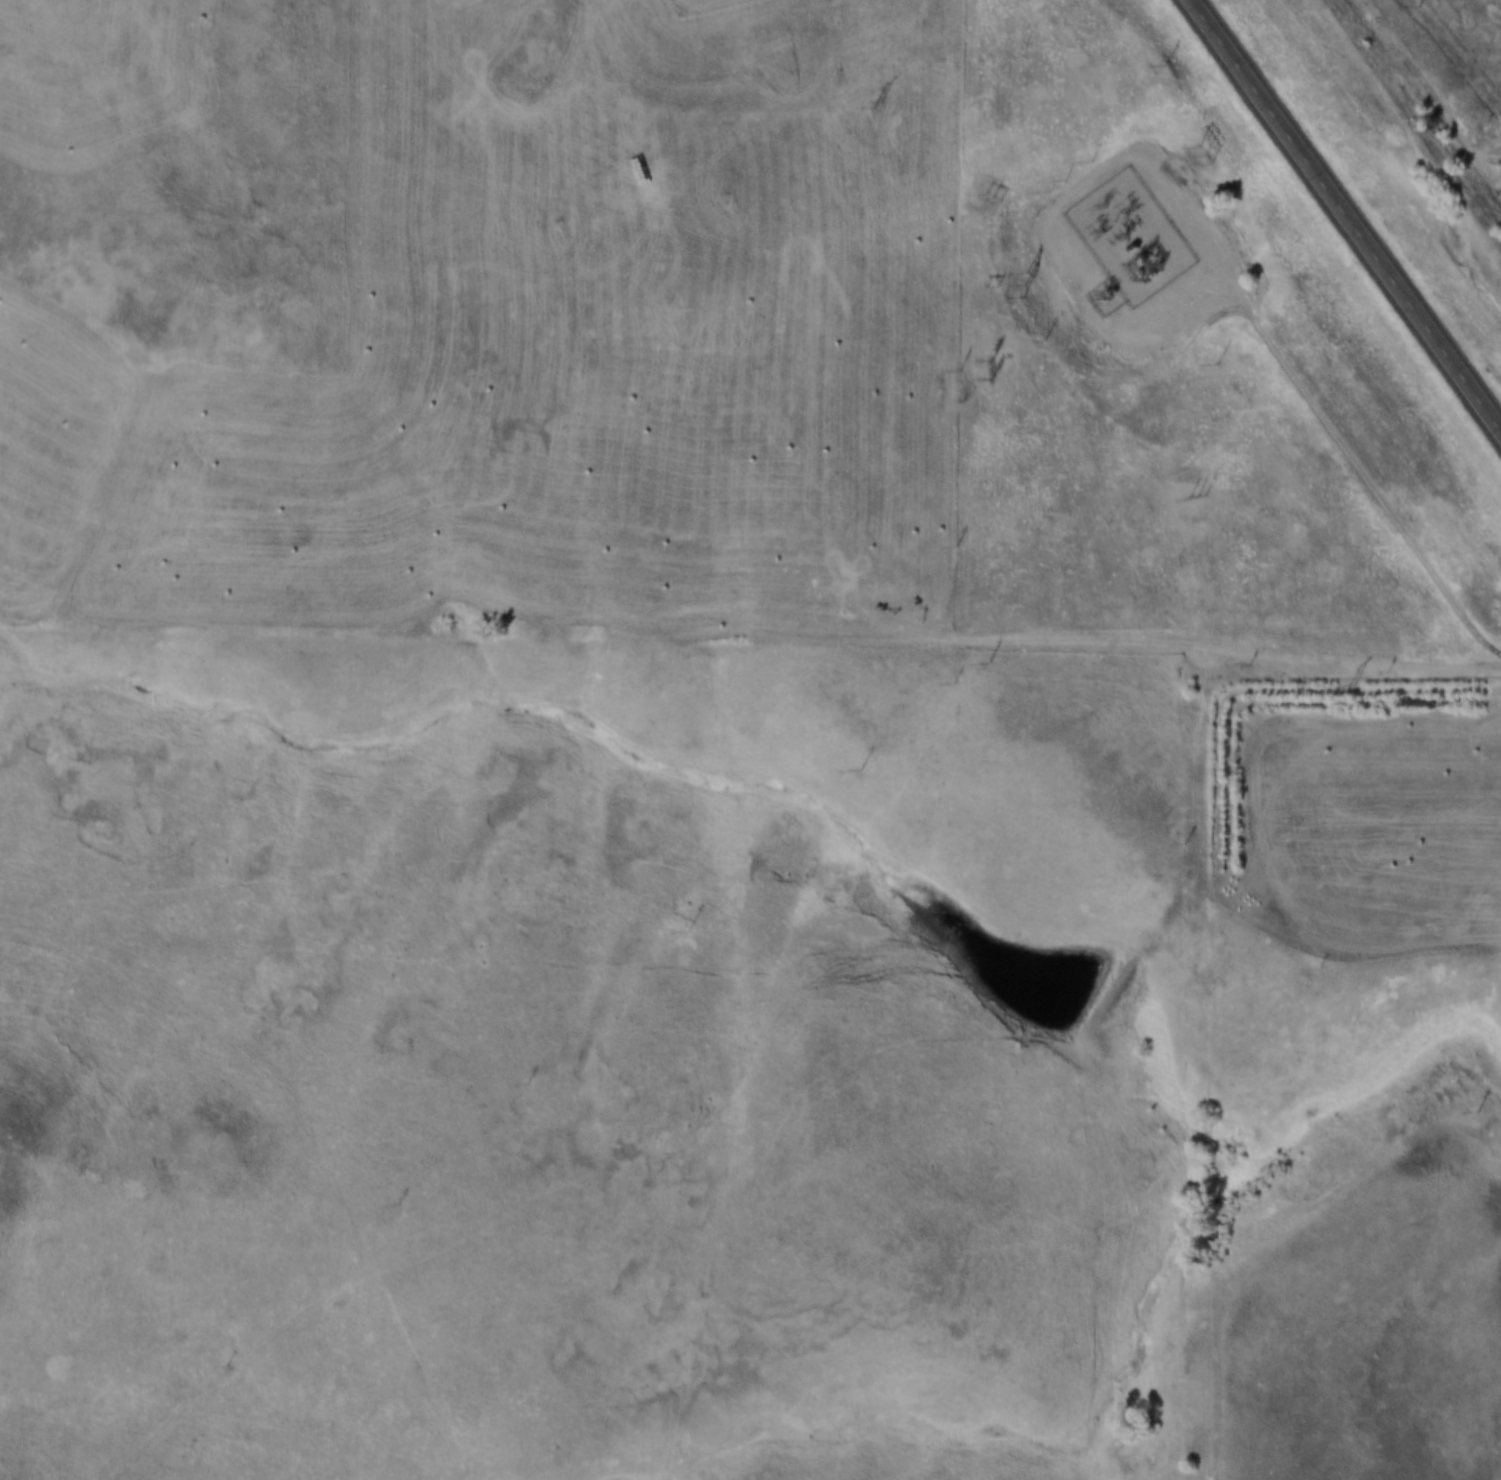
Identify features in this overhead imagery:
power tower: (1408, 2)
power tower: (1195, 155)
road: (1347, 213)
power substation: (1127, 236)
power tower: (1206, 362)
road: (1353, 474)
power tower: (1186, 496)
power tower: (1341, 687)
road: (1411, 721)
road: (1262, 899)
road: (623, 965)
road: (244, 1050)
road: (597, 1182)

